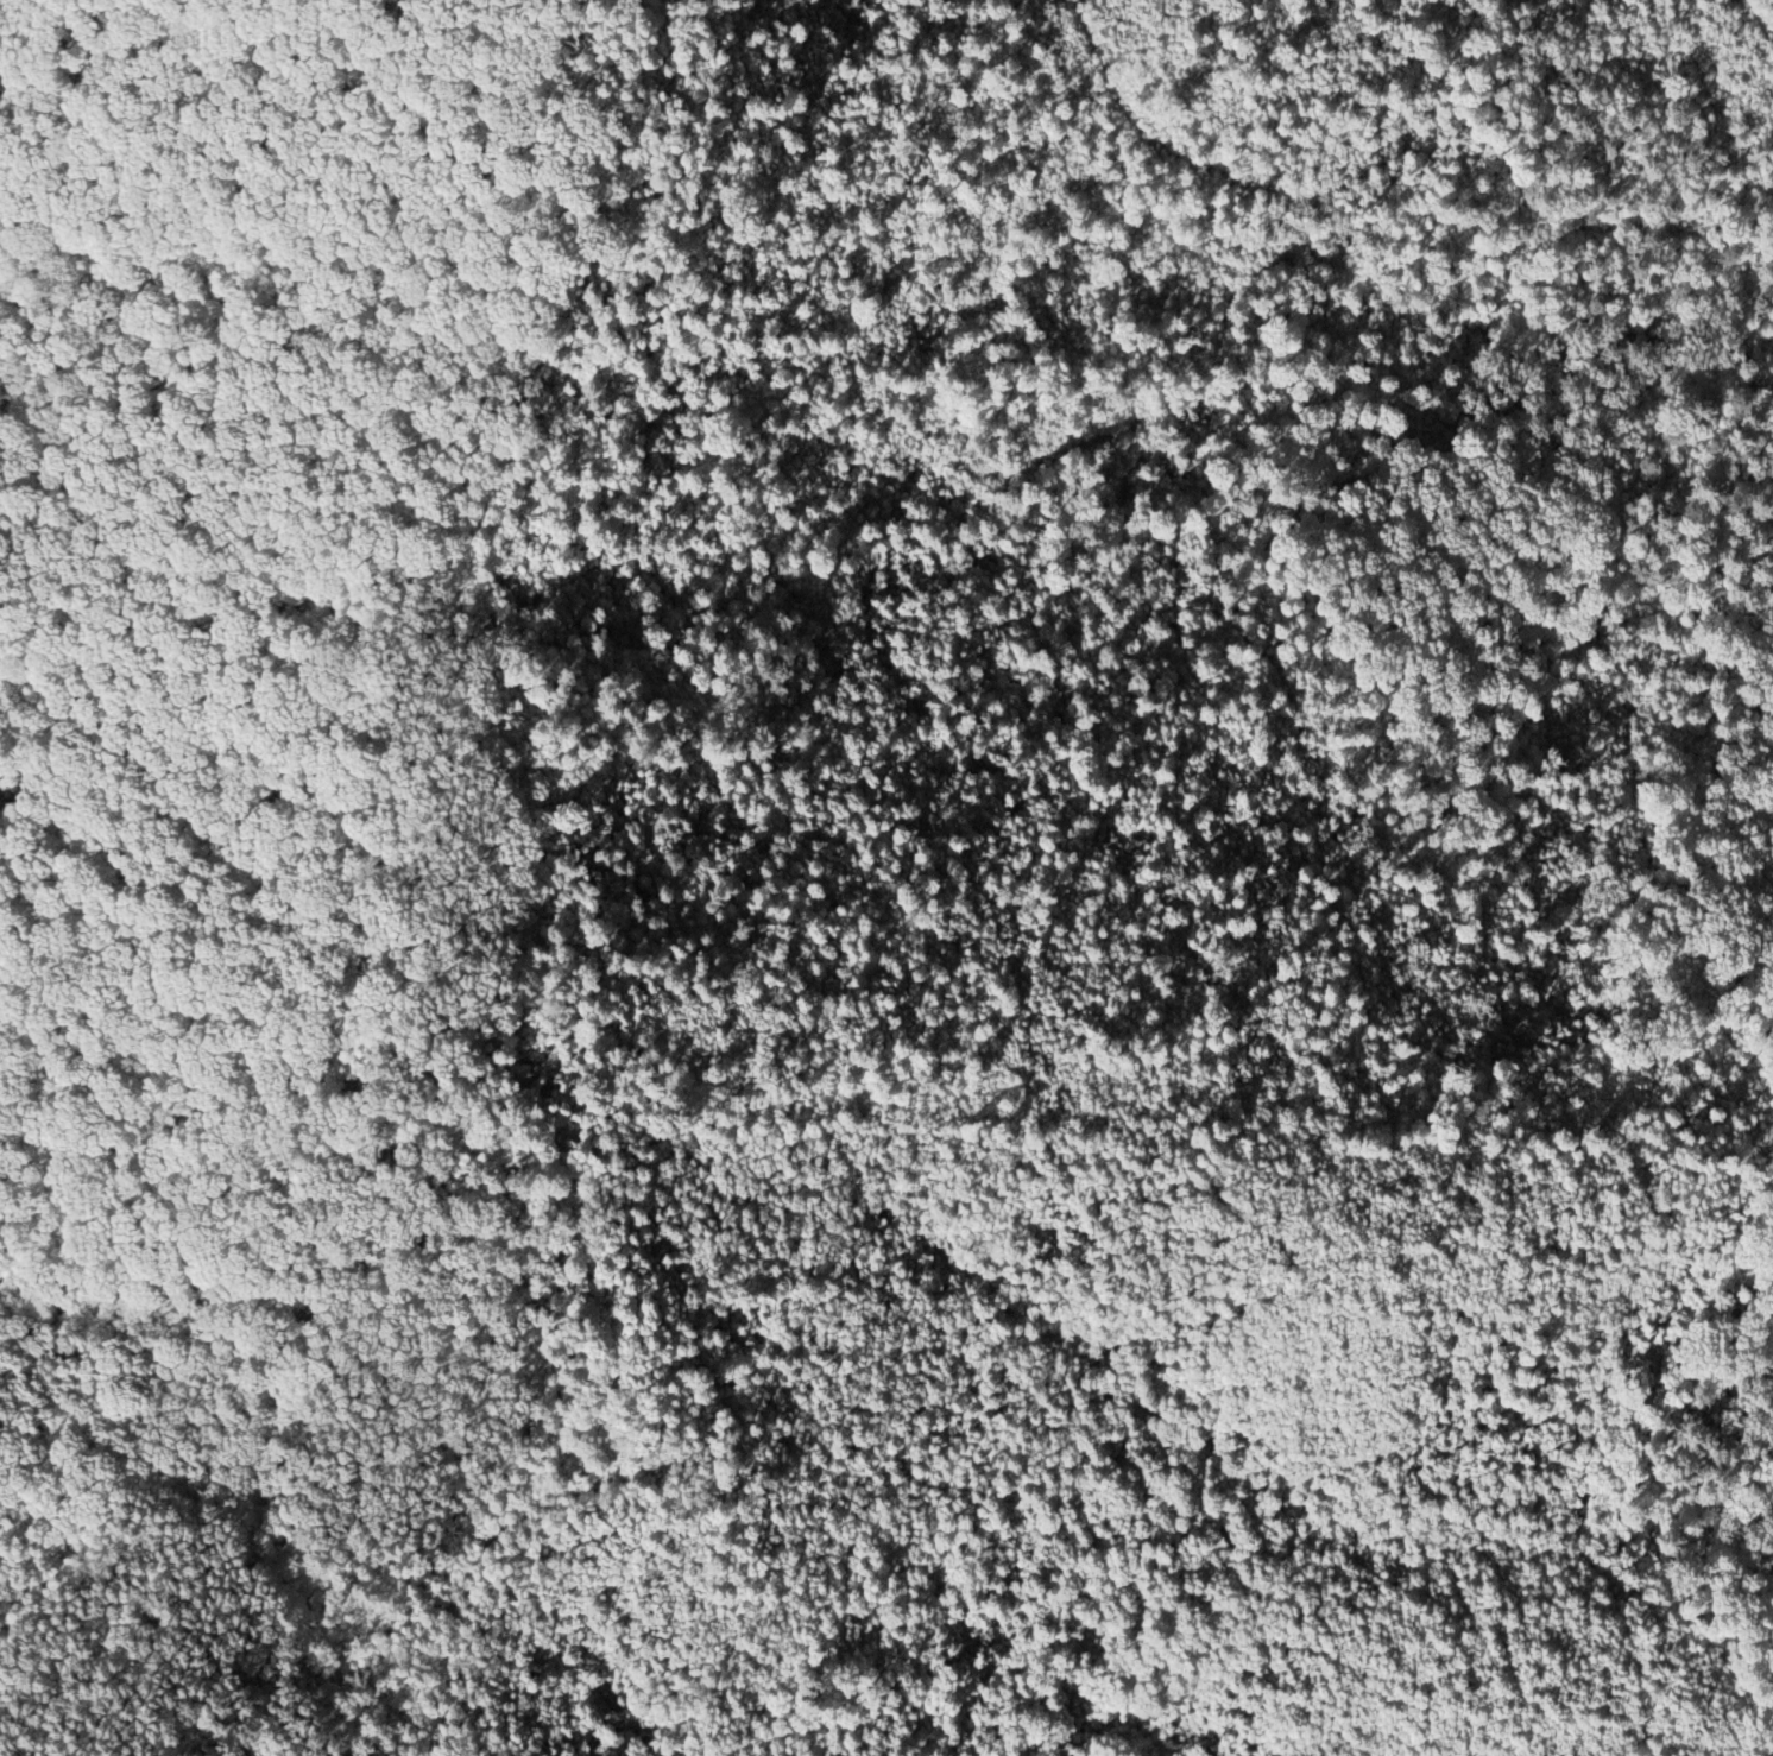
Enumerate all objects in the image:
road: (1755, 25)

